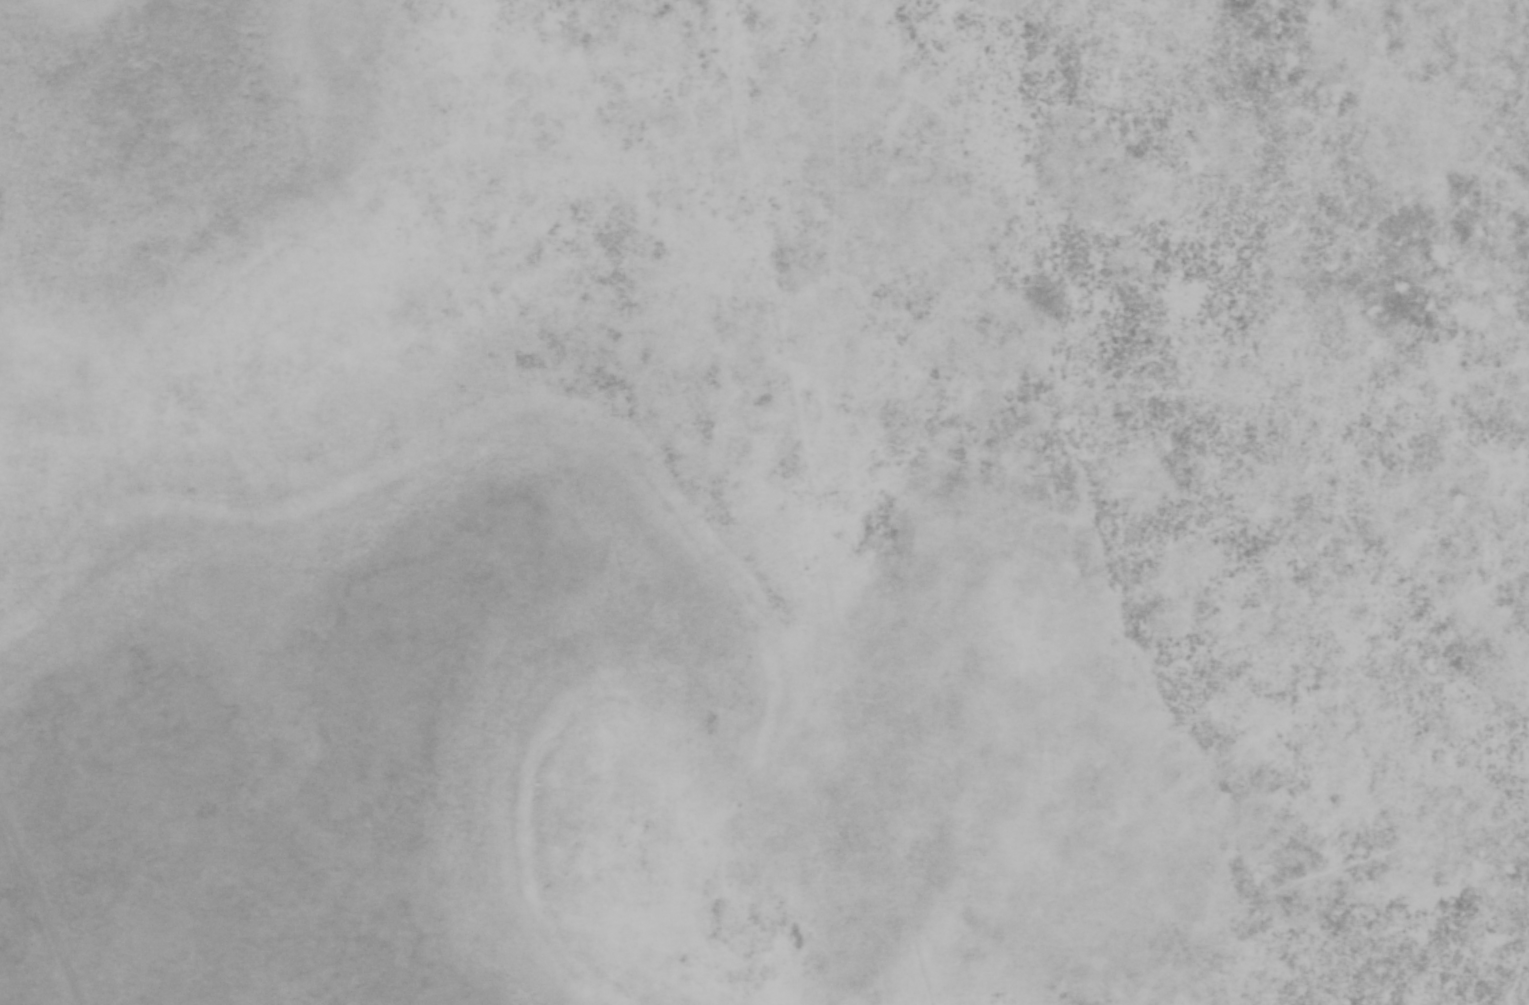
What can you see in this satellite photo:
road: (39, 910)

